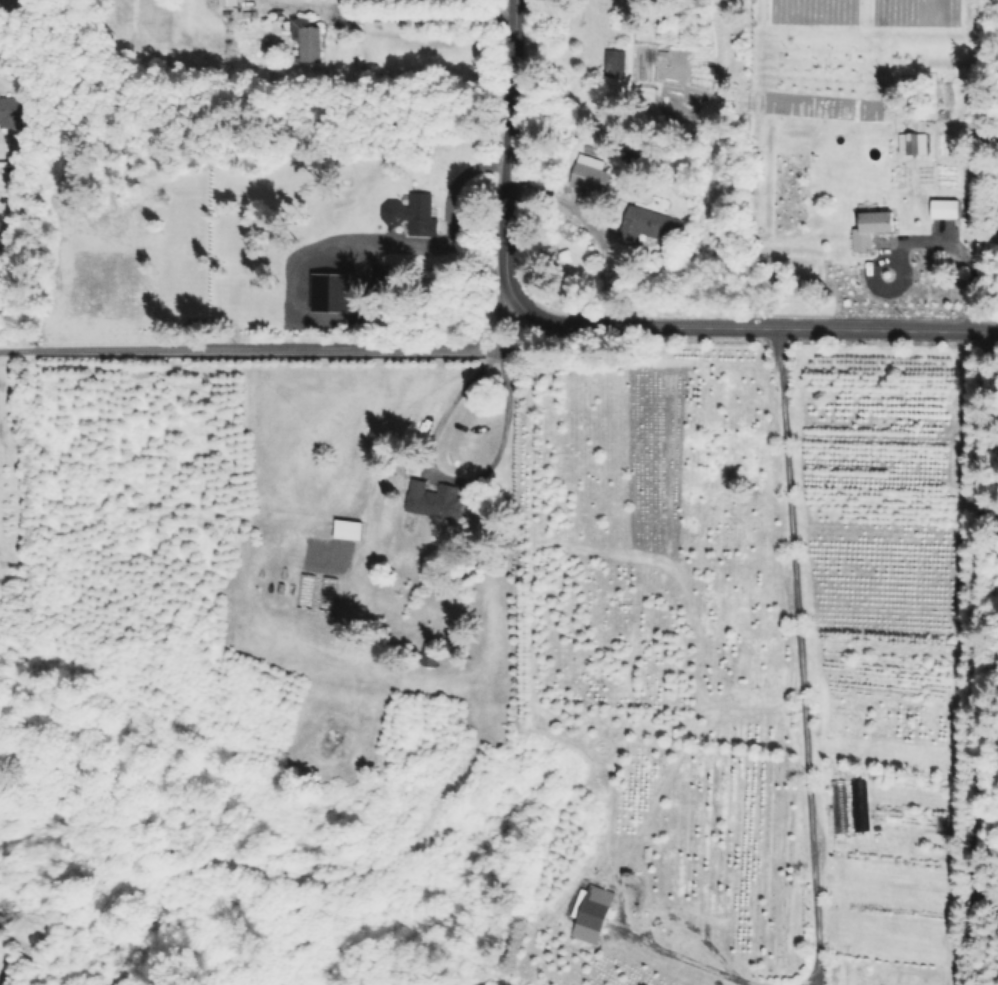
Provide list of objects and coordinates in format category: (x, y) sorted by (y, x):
building: (228, 3)
road: (342, 4)
road: (305, 5)
road: (428, 16)
building: (309, 40)
building: (615, 62)
building: (9, 111)
building: (913, 143)
building: (591, 178)
building: (946, 209)
building: (421, 214)
building: (649, 225)
building: (872, 228)
road: (960, 249)
road: (606, 258)
road: (602, 318)
road: (273, 349)
road: (454, 477)
building: (436, 500)
building: (350, 530)
building: (432, 654)
road: (795, 654)
road: (976, 657)
building: (596, 915)
road: (686, 957)

